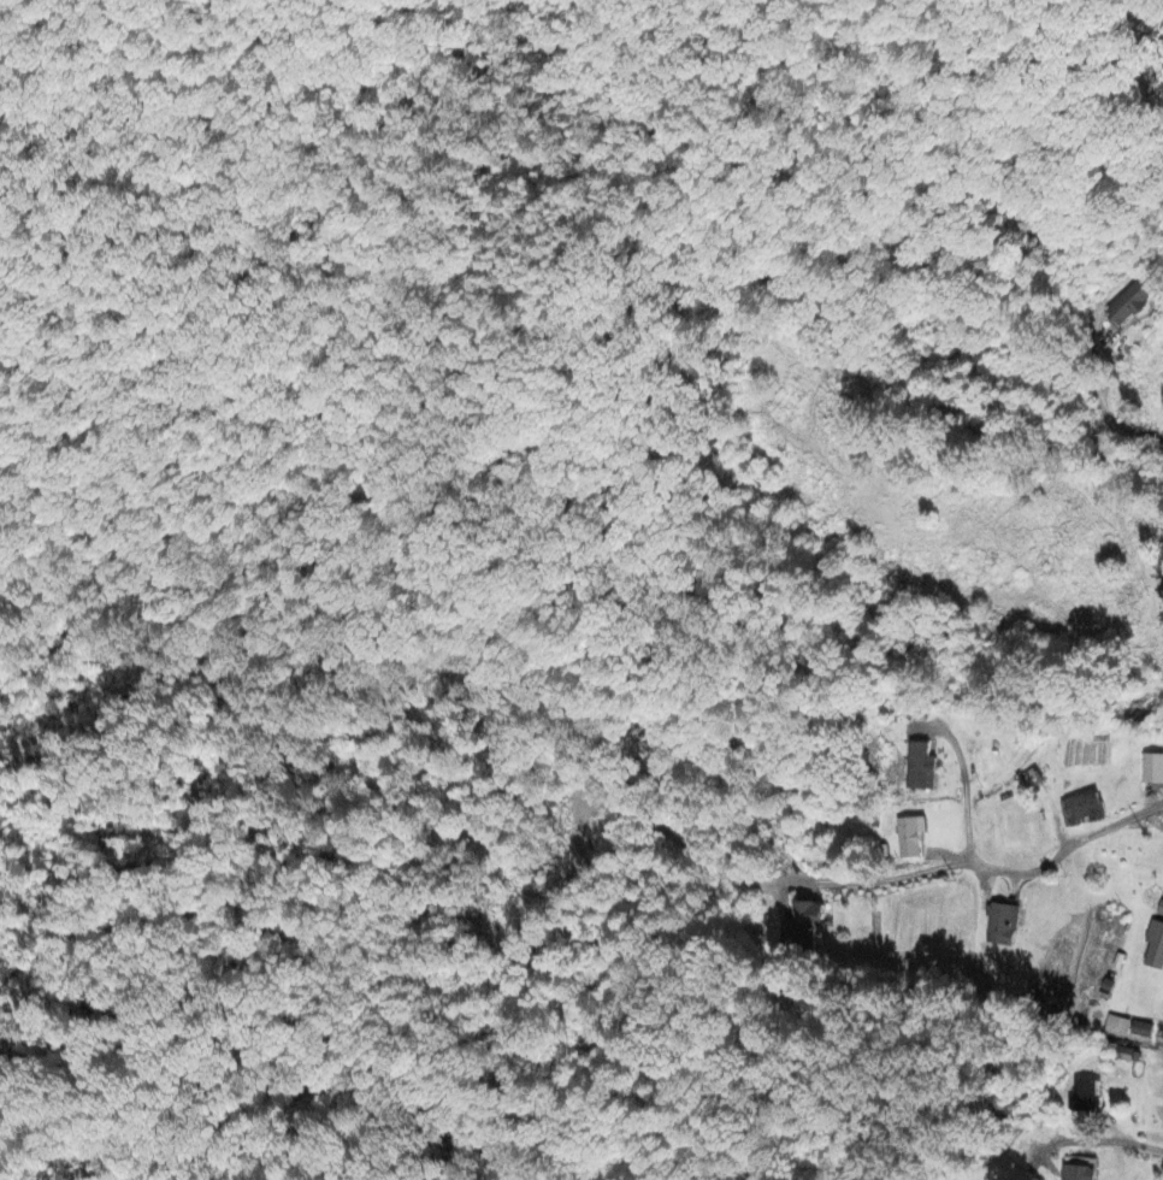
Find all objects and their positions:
building: (1130, 301)
road: (1088, 454)
road: (950, 734)
building: (920, 766)
building: (1152, 767)
building: (1082, 808)
road: (966, 814)
building: (908, 836)
road: (1056, 852)
road: (874, 880)
building: (1159, 907)
building: (803, 922)
building: (1000, 924)
building: (1153, 944)
building: (1116, 1025)
building: (1140, 1028)
building: (1085, 1096)
road: (1091, 1137)
building: (1076, 1173)

